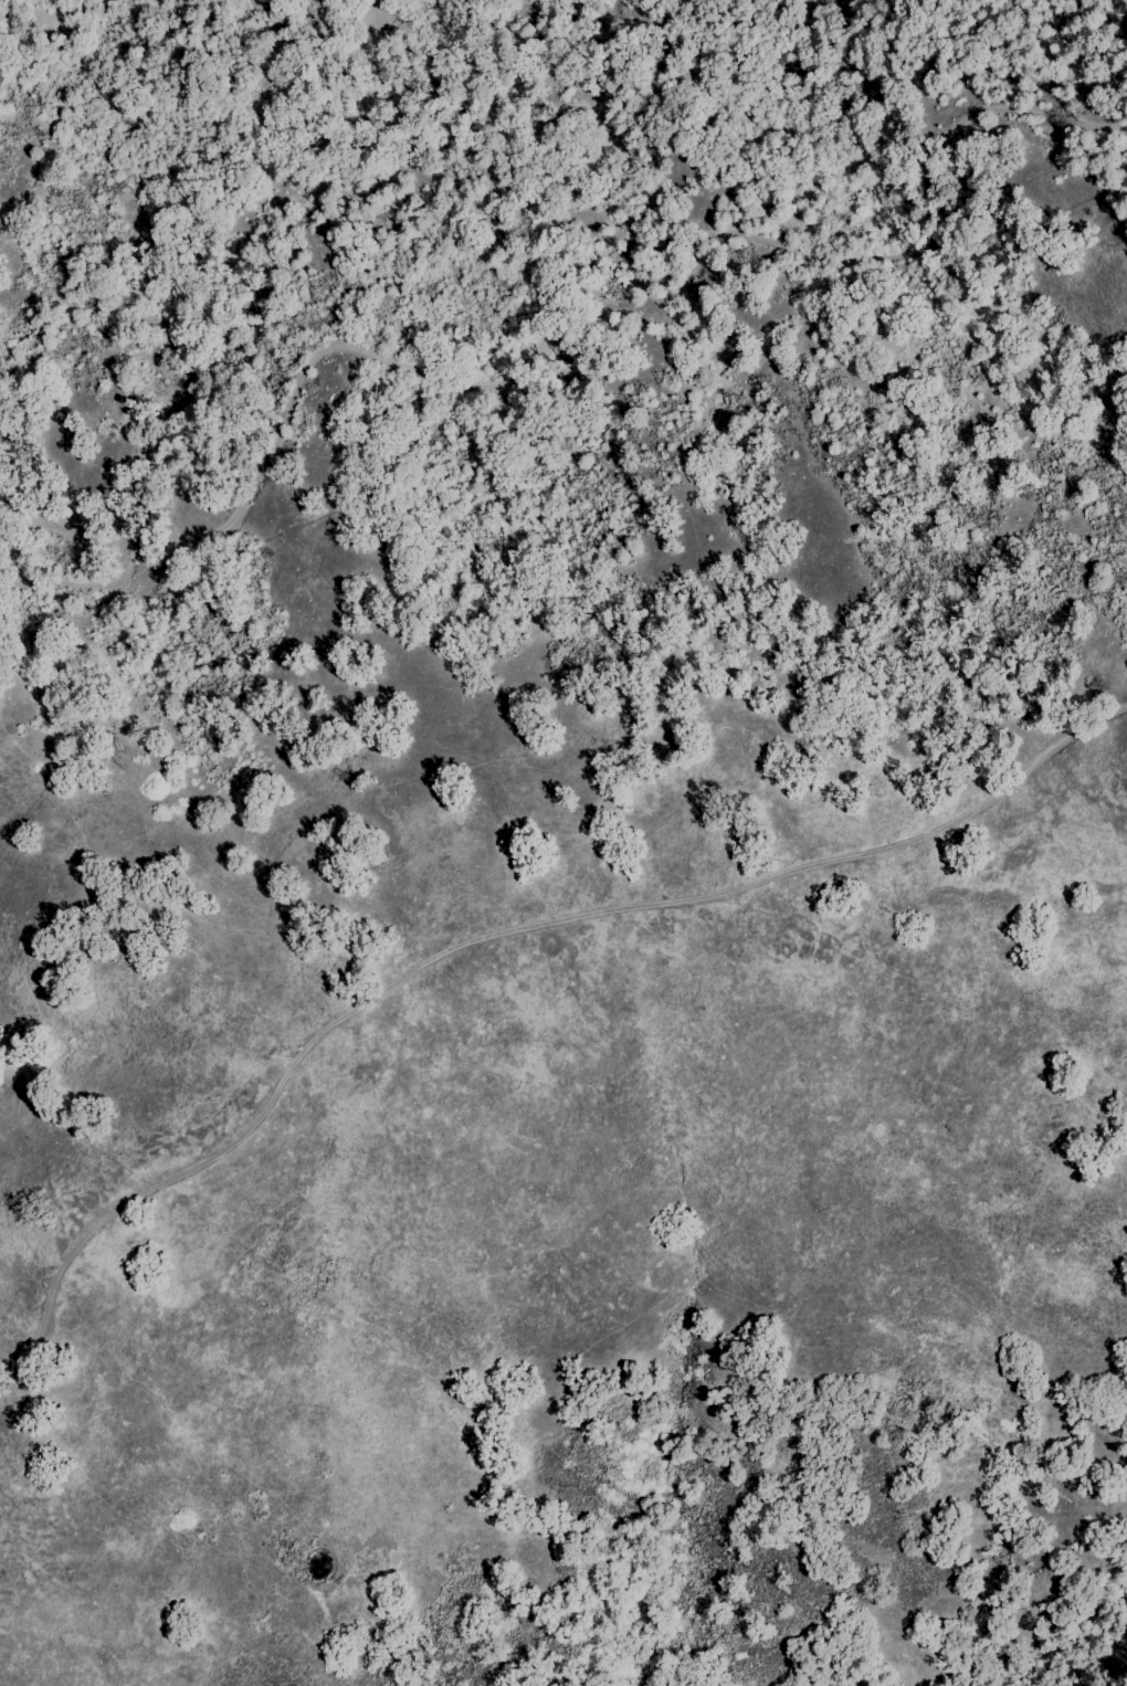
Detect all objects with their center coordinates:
road: (550, 295)
road: (496, 935)

